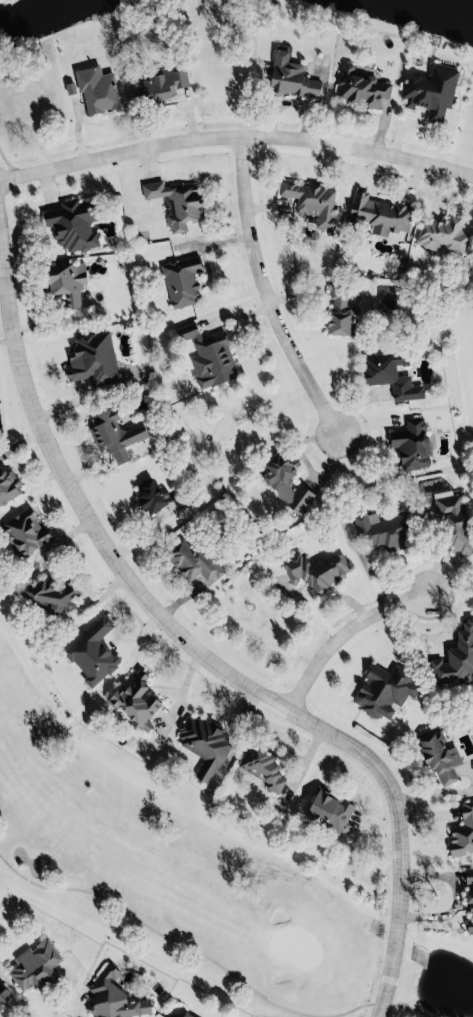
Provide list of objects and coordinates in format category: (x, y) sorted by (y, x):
building: (288, 76)
building: (161, 82)
building: (358, 86)
building: (94, 88)
building: (428, 90)
road: (236, 130)
building: (173, 201)
building: (310, 201)
building: (378, 212)
building: (70, 223)
building: (440, 233)
building: (179, 278)
building: (64, 281)
road: (277, 293)
building: (337, 310)
road: (5, 342)
building: (207, 356)
building: (89, 358)
building: (385, 370)
building: (114, 432)
building: (409, 443)
building: (282, 481)
building: (7, 484)
building: (147, 497)
building: (451, 519)
building: (380, 528)
building: (23, 532)
building: (190, 559)
building: (313, 569)
building: (48, 593)
road: (356, 623)
building: (90, 651)
road: (212, 656)
building: (455, 657)
building: (381, 688)
building: (132, 702)
building: (202, 743)
building: (437, 757)
building: (259, 767)
building: (326, 810)
building: (461, 832)
building: (468, 898)
building: (32, 965)
building: (3, 994)
building: (110, 997)
road: (406, 1008)
building: (175, 1012)

